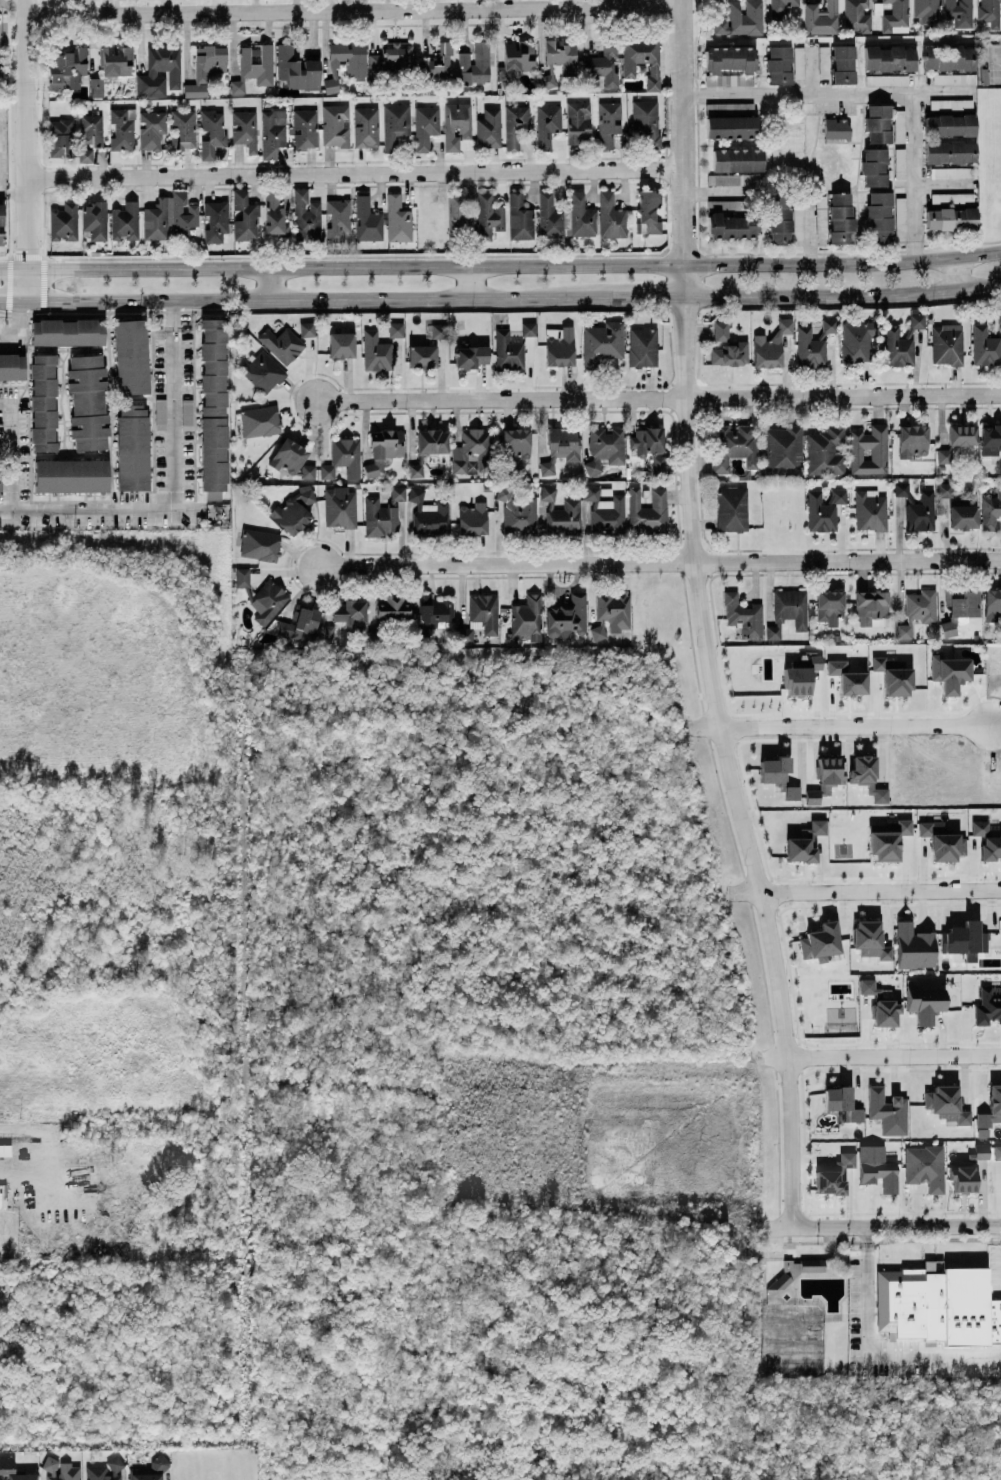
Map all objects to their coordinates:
building: (782, 5)
road: (353, 9)
building: (927, 10)
building: (960, 12)
building: (989, 12)
building: (896, 15)
building: (857, 16)
building: (821, 18)
building: (741, 19)
building: (393, 57)
building: (949, 57)
building: (350, 58)
building: (517, 58)
building: (890, 58)
building: (642, 59)
building: (116, 60)
building: (824, 61)
building: (559, 62)
building: (799, 62)
building: (439, 63)
building: (475, 64)
building: (779, 64)
building: (843, 64)
building: (729, 65)
building: (254, 66)
building: (67, 68)
building: (601, 68)
building: (206, 69)
building: (296, 69)
building: (155, 70)
building: (949, 78)
building: (887, 79)
building: (331, 85)
building: (96, 87)
road: (823, 91)
building: (951, 103)
building: (578, 122)
building: (608, 122)
building: (646, 122)
building: (878, 123)
building: (395, 124)
building: (456, 124)
building: (547, 124)
building: (335, 125)
building: (949, 125)
building: (366, 126)
building: (425, 126)
building: (516, 126)
building: (731, 127)
building: (305, 128)
building: (489, 128)
building: (122, 129)
building: (151, 129)
building: (182, 129)
building: (245, 129)
building: (836, 129)
building: (212, 132)
building: (273, 132)
building: (76, 137)
road: (684, 148)
road: (24, 150)
building: (950, 152)
building: (737, 160)
building: (899, 163)
road: (911, 165)
building: (874, 167)
building: (952, 172)
road: (355, 173)
road: (12, 191)
building: (948, 197)
building: (726, 205)
building: (648, 211)
building: (460, 212)
building: (2, 214)
building: (274, 214)
building: (488, 215)
building: (581, 215)
building: (900, 215)
building: (244, 216)
building: (306, 216)
building: (611, 216)
building: (879, 216)
building: (169, 217)
building: (552, 217)
building: (338, 218)
building: (520, 218)
building: (779, 218)
building: (841, 218)
building: (951, 218)
building: (94, 219)
building: (398, 219)
building: (216, 220)
building: (367, 220)
building: (63, 221)
building: (124, 221)
building: (733, 228)
building: (1, 239)
road: (912, 250)
road: (693, 252)
road: (725, 252)
road: (325, 256)
road: (5, 257)
road: (27, 257)
road: (500, 263)
road: (957, 273)
road: (467, 281)
road: (270, 282)
road: (44, 283)
road: (10, 284)
road: (843, 295)
road: (638, 296)
road: (305, 297)
road: (10, 300)
road: (588, 306)
road: (92, 310)
road: (5, 312)
building: (998, 315)
building: (917, 320)
road: (20, 325)
building: (828, 325)
building: (527, 327)
building: (307, 328)
building: (396, 329)
building: (439, 330)
building: (721, 330)
building: (68, 332)
building: (857, 340)
building: (280, 343)
building: (602, 343)
building: (341, 344)
building: (771, 344)
building: (947, 344)
building: (559, 345)
building: (642, 346)
building: (985, 346)
building: (898, 347)
building: (810, 348)
building: (375, 351)
building: (507, 352)
building: (730, 353)
building: (469, 355)
building: (131, 356)
building: (421, 356)
building: (12, 366)
building: (262, 370)
road: (659, 396)
building: (88, 401)
building: (43, 402)
road: (176, 404)
building: (213, 407)
building: (160, 414)
building: (187, 414)
road: (14, 416)
building: (258, 420)
building: (962, 434)
building: (990, 439)
building: (912, 440)
building: (432, 441)
road: (7, 442)
building: (516, 446)
building: (734, 446)
building: (560, 447)
building: (650, 447)
building: (605, 448)
building: (384, 449)
building: (783, 450)
building: (869, 450)
building: (826, 451)
building: (132, 452)
building: (473, 452)
building: (945, 455)
building: (343, 458)
building: (294, 460)
building: (416, 470)
building: (71, 474)
road: (14, 477)
building: (1, 479)
building: (901, 488)
building: (945, 489)
building: (398, 493)
building: (340, 507)
building: (605, 508)
building: (647, 509)
building: (731, 509)
building: (824, 509)
building: (991, 509)
building: (294, 510)
building: (870, 510)
road: (101, 511)
building: (517, 511)
building: (921, 512)
building: (562, 513)
building: (429, 514)
building: (963, 516)
building: (379, 517)
building: (473, 519)
building: (260, 544)
road: (661, 561)
building: (242, 576)
building: (268, 601)
building: (963, 602)
building: (992, 605)
building: (392, 606)
building: (829, 606)
building: (870, 606)
building: (614, 609)
building: (435, 610)
building: (918, 610)
building: (788, 611)
building: (349, 613)
building: (743, 616)
building: (480, 617)
building: (567, 617)
building: (528, 618)
building: (301, 624)
building: (949, 627)
building: (330, 631)
building: (598, 632)
building: (949, 672)
building: (800, 674)
building: (893, 675)
building: (847, 678)
road: (843, 730)
road: (728, 762)
building: (774, 769)
building: (867, 776)
building: (825, 778)
building: (791, 792)
building: (904, 826)
building: (987, 839)
building: (942, 840)
building: (804, 842)
building: (883, 842)
road: (867, 891)
building: (964, 939)
building: (820, 941)
building: (914, 946)
building: (869, 986)
building: (925, 1003)
building: (987, 1007)
building: (885, 1012)
road: (875, 1056)
building: (841, 1102)
building: (946, 1103)
building: (991, 1107)
building: (887, 1110)
building: (981, 1151)
building: (997, 1152)
road: (50, 1156)
building: (925, 1166)
building: (877, 1167)
building: (834, 1175)
building: (963, 1178)
road: (879, 1225)
building: (937, 1304)
road: (870, 1356)
building: (159, 1463)
building: (13, 1469)
building: (61, 1470)
building: (105, 1470)
building: (145, 1476)

